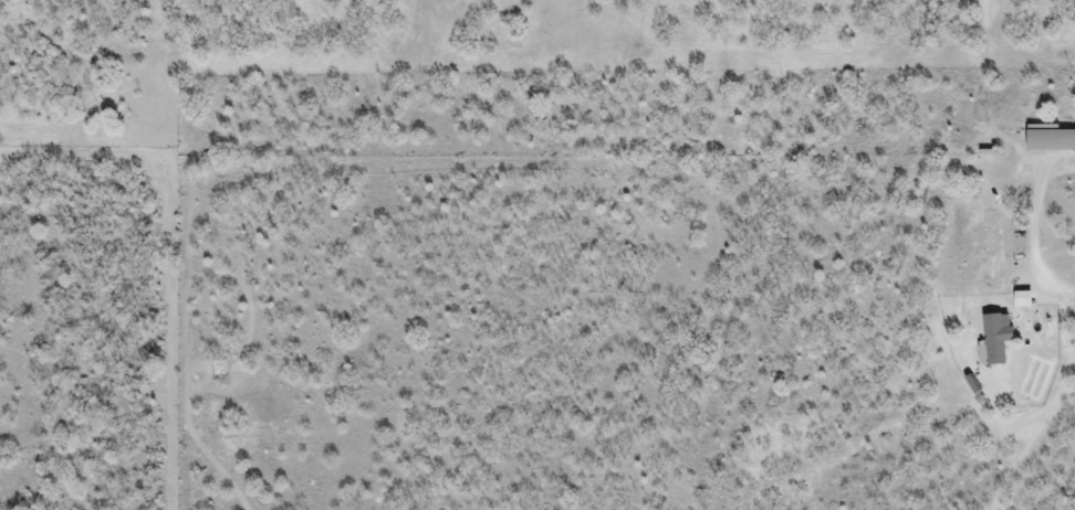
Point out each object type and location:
building: (1048, 141)
road: (1030, 248)

